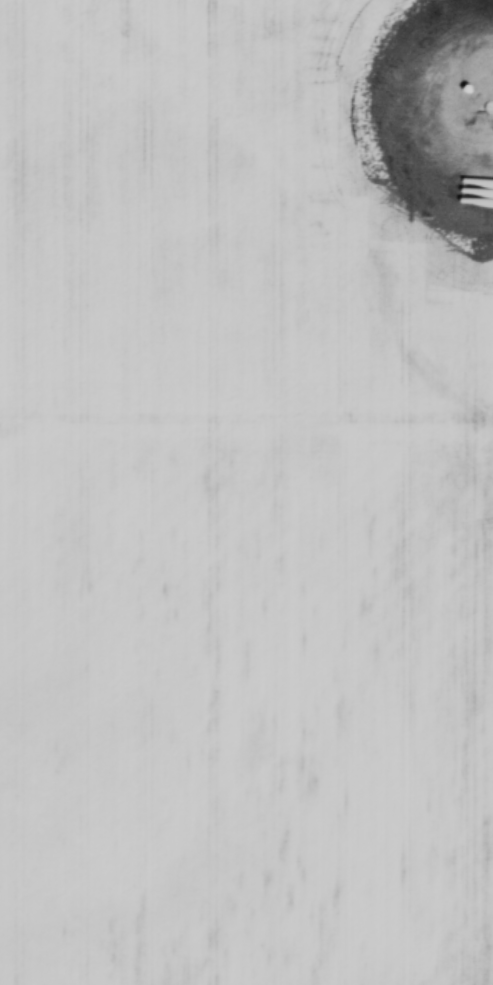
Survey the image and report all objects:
wind turbine: (480, 106)

